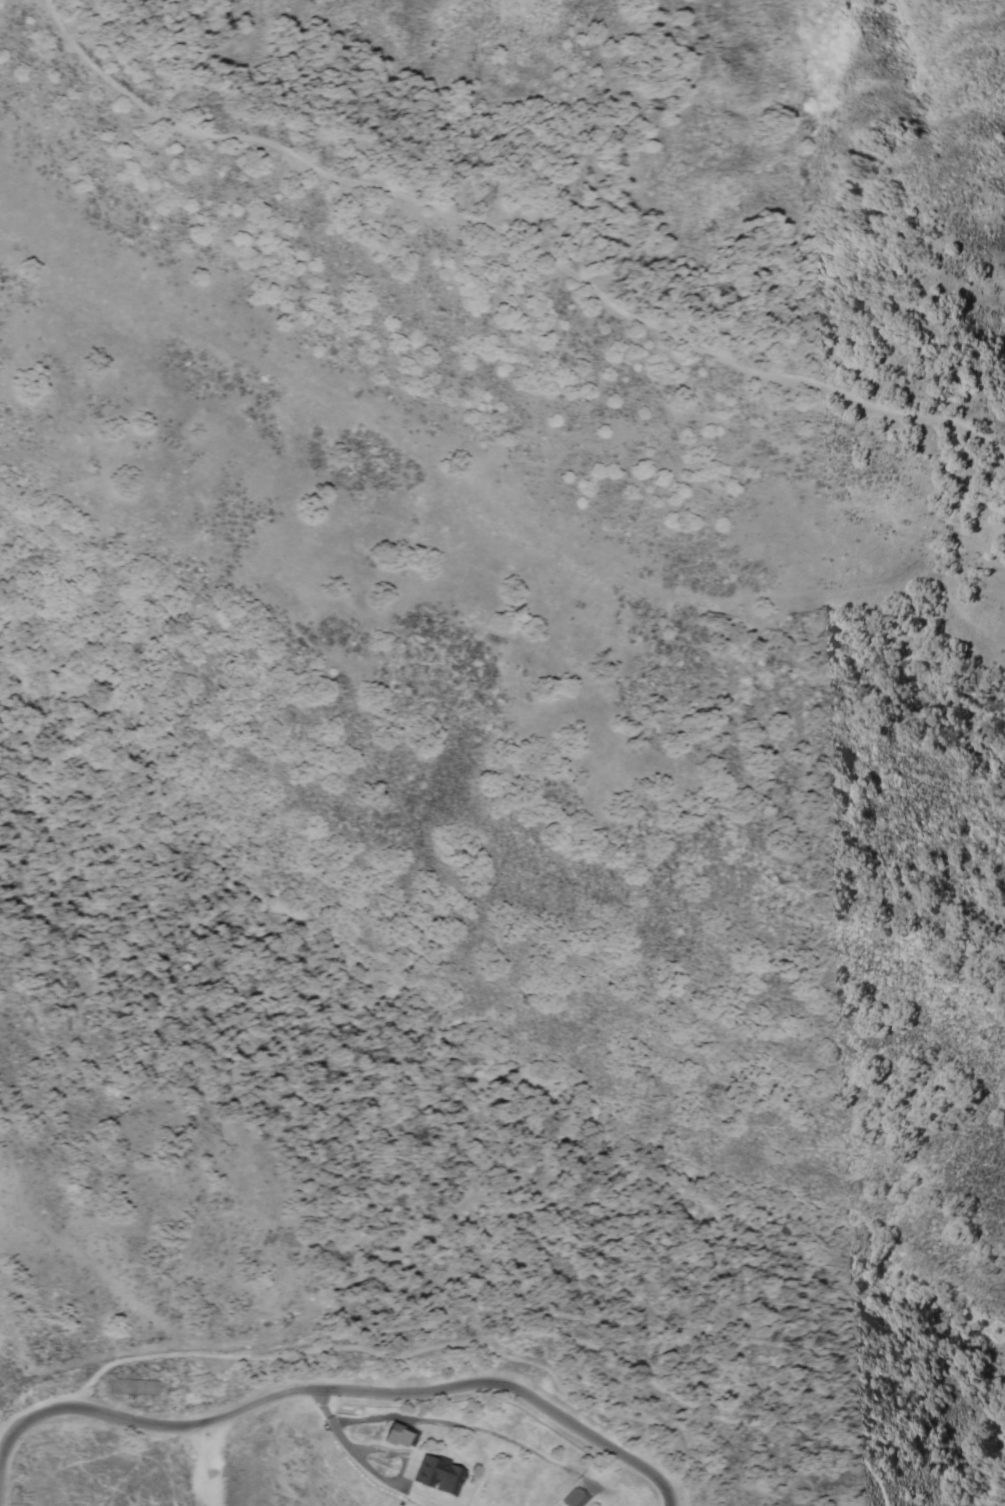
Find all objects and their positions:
road: (516, 232)
road: (339, 1386)
building: (394, 1436)
building: (435, 1476)

